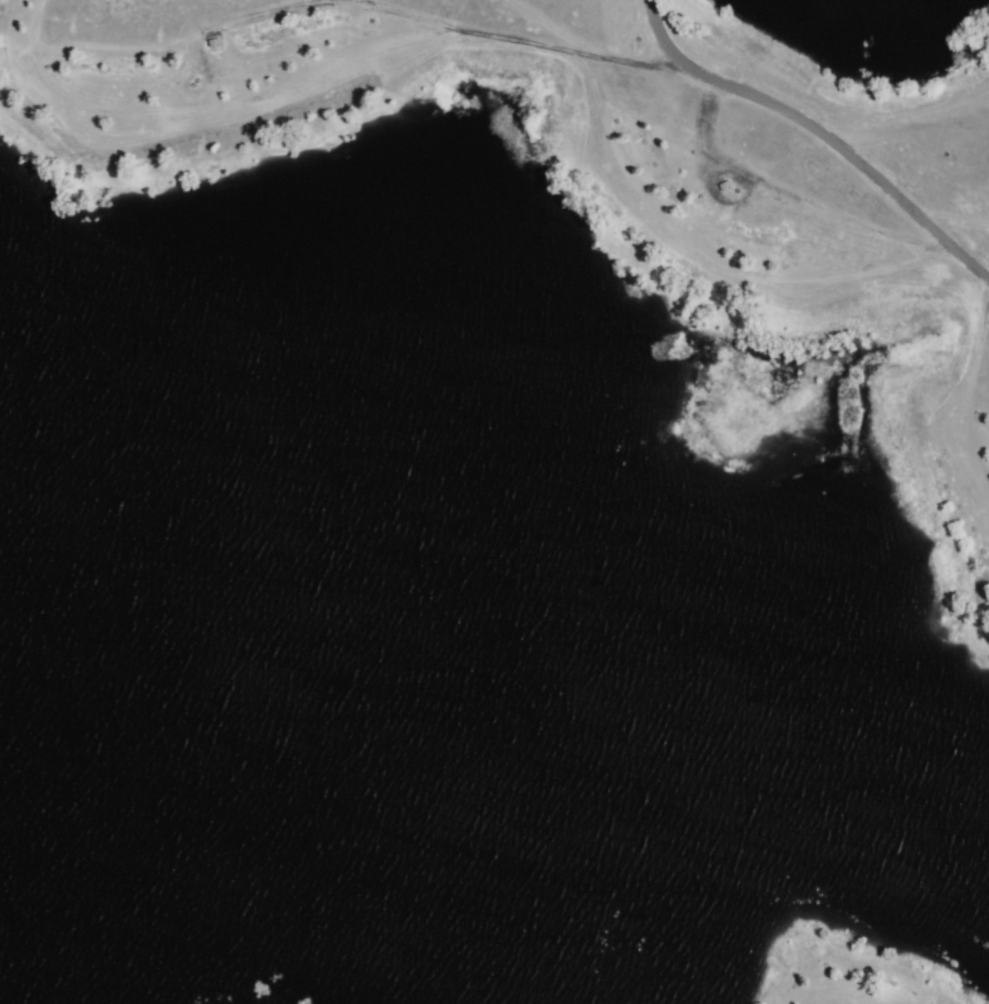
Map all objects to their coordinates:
road: (817, 134)

